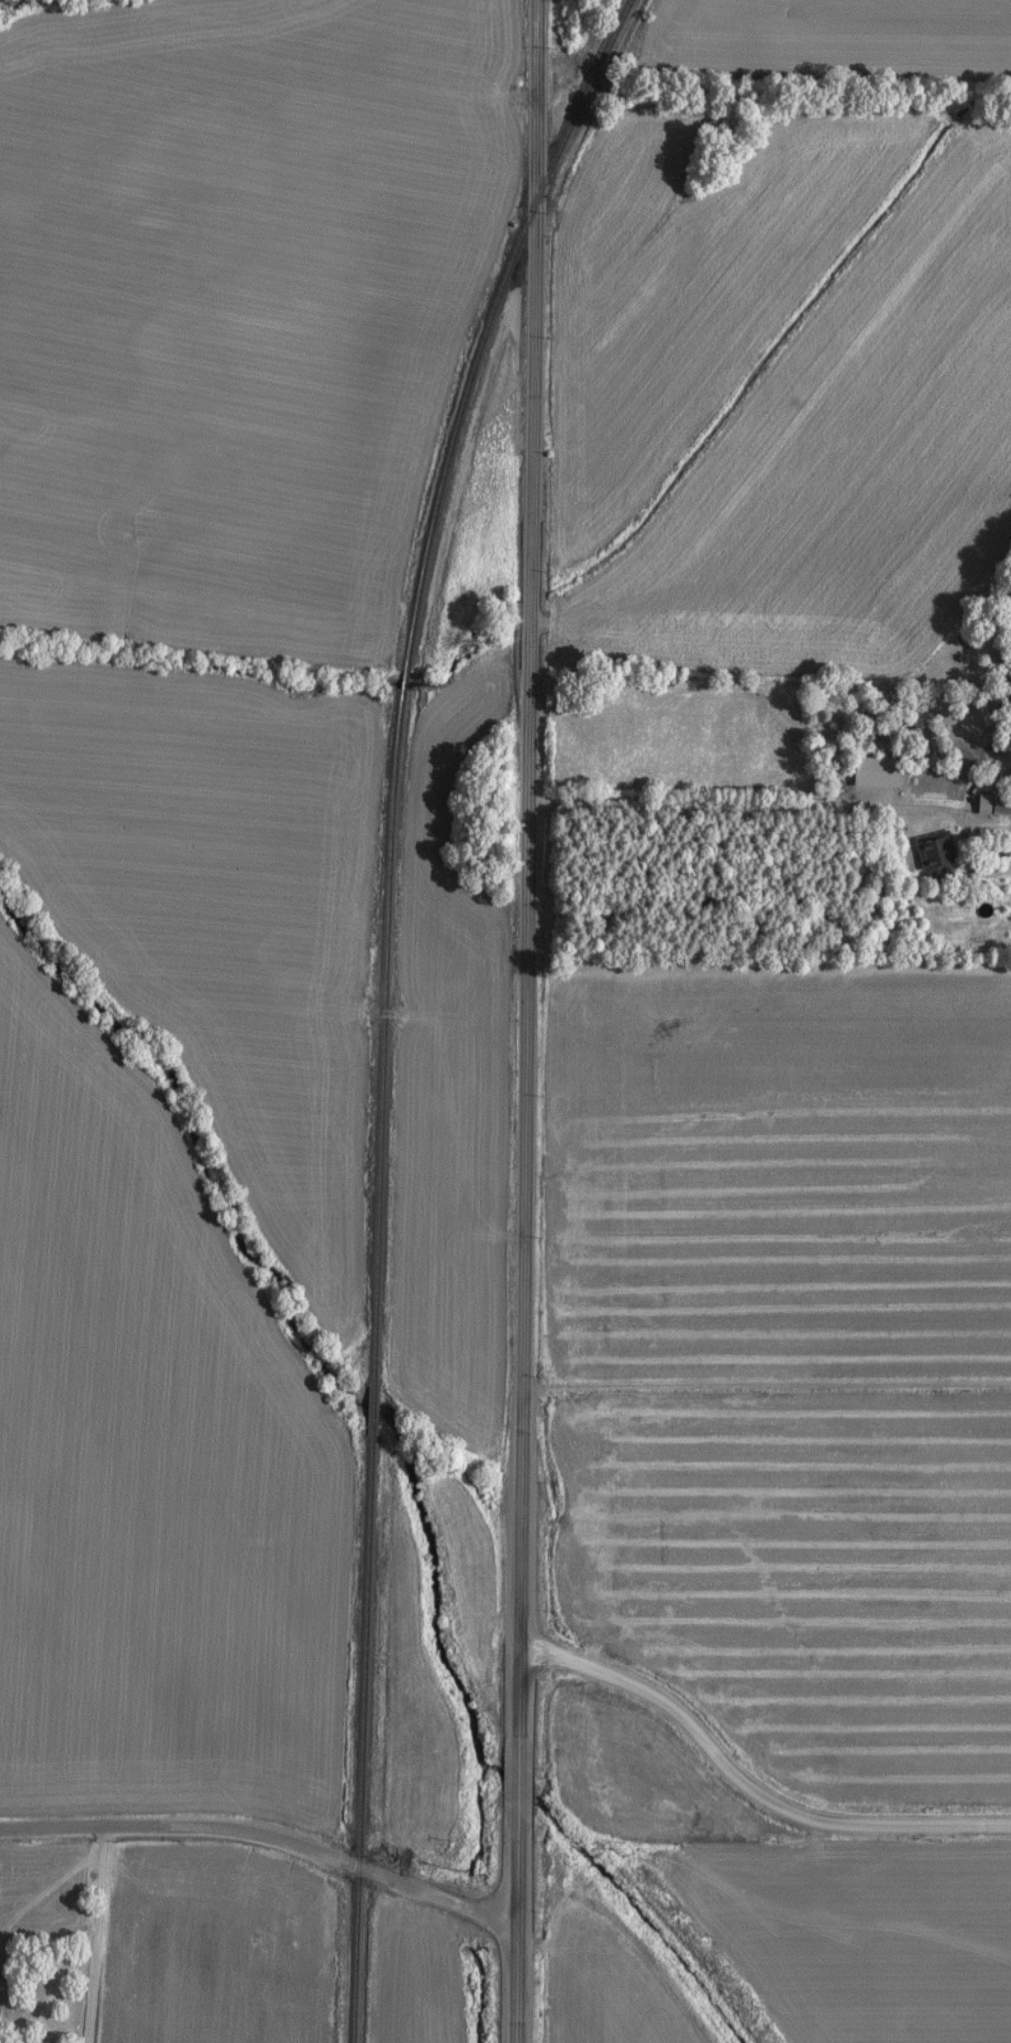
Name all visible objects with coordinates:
railway: (487, 324)
railway: (402, 676)
road: (747, 804)
building: (990, 805)
building: (929, 856)
road: (527, 1021)
railway: (368, 1364)
road: (768, 1386)
road: (748, 1784)
road: (265, 1836)
road: (98, 1935)

